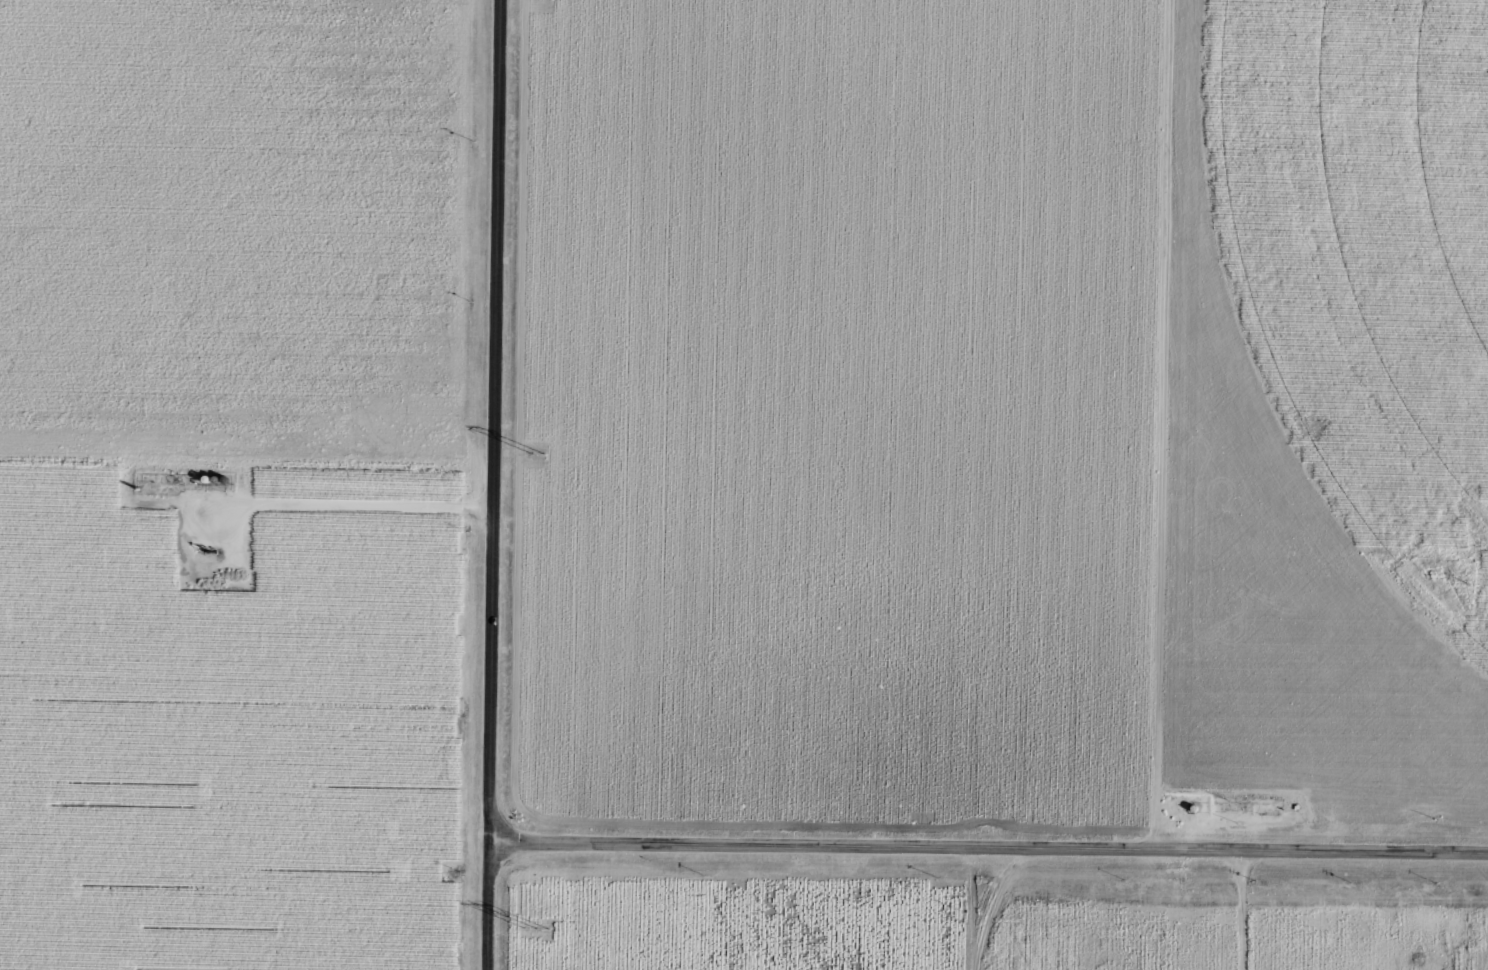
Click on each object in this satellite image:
road: (499, 423)
road: (1153, 426)
power tower: (539, 453)
petroleum well: (214, 546)
petroleum well: (1441, 570)
road: (990, 850)
road: (491, 908)
power tower: (538, 927)

